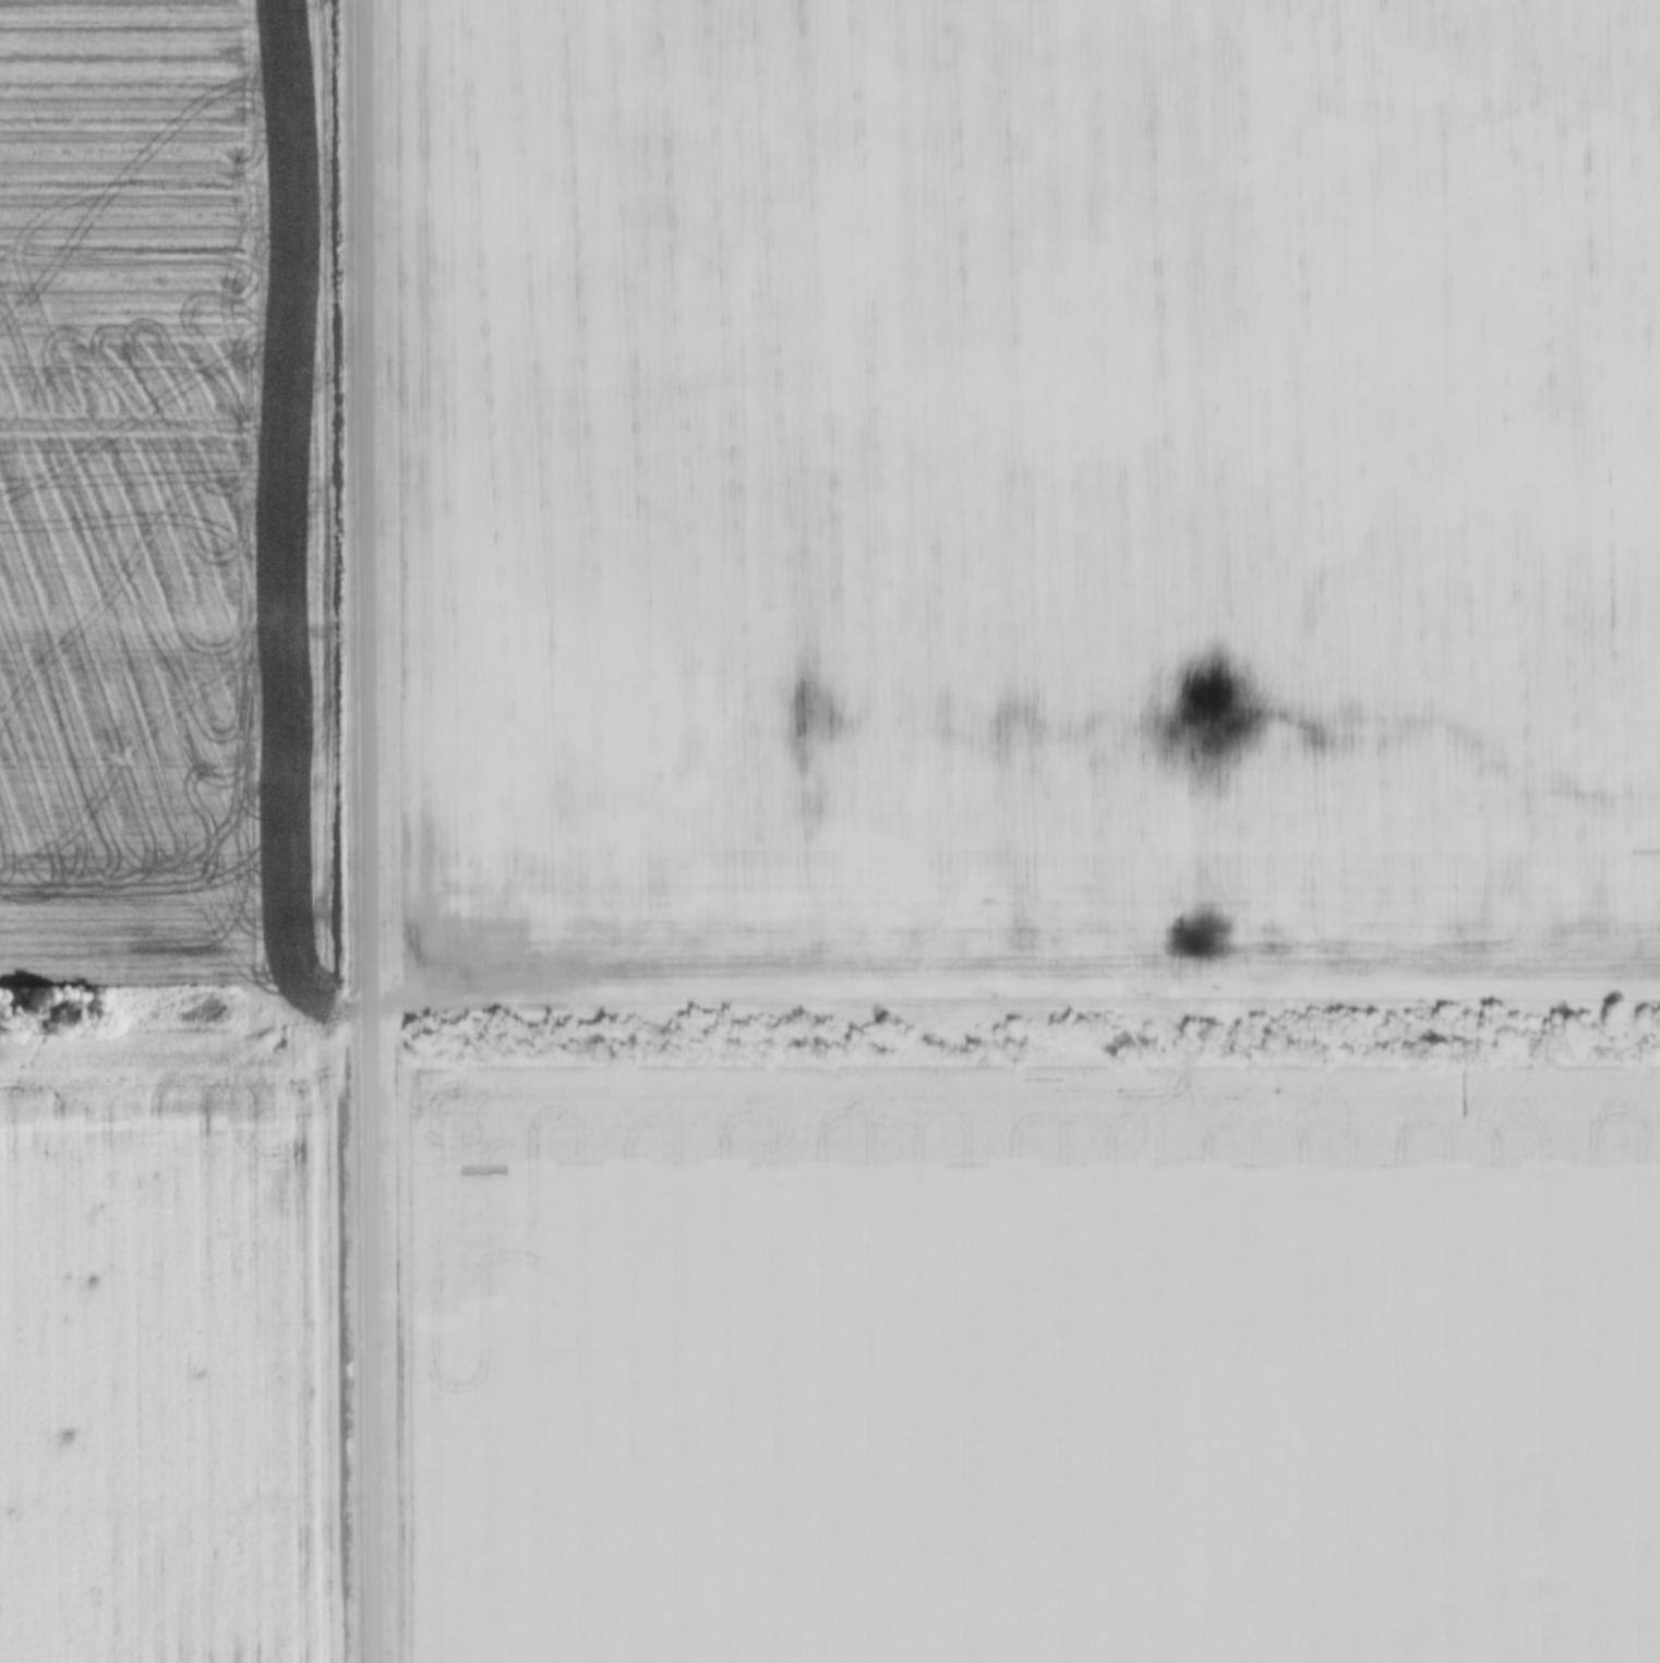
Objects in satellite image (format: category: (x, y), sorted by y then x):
road: (377, 831)
road: (797, 1009)

